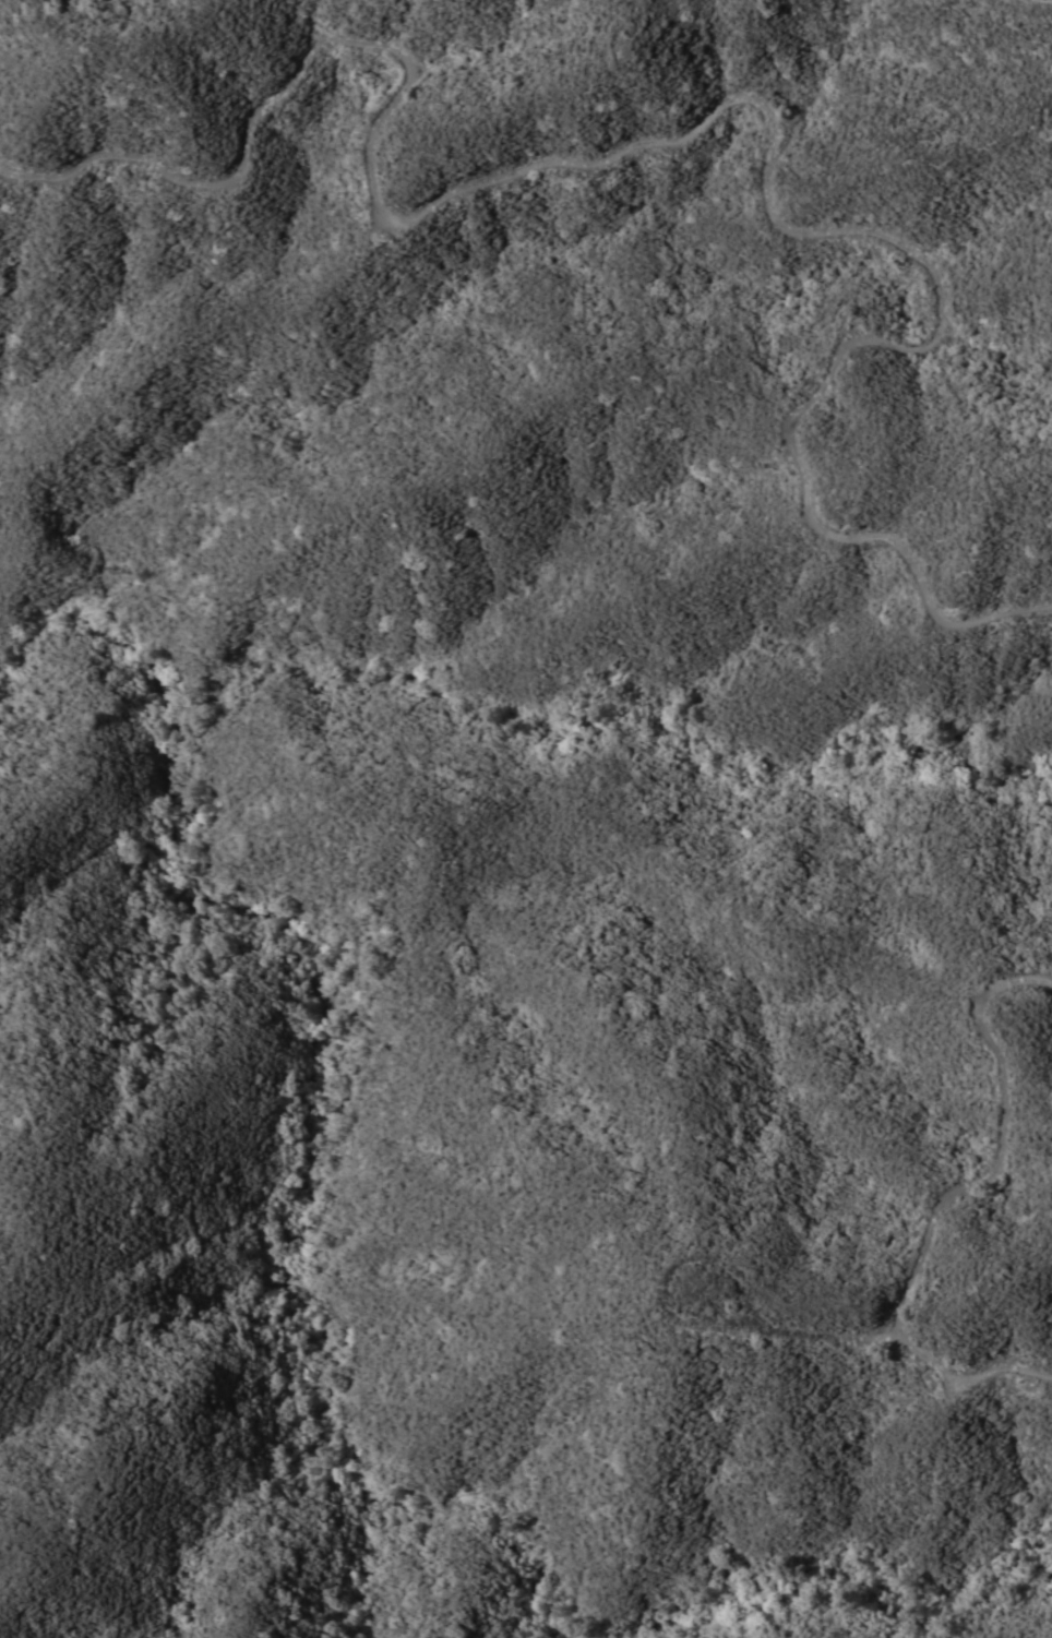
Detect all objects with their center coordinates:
road: (1043, 1)
road: (698, 120)
road: (943, 1199)

